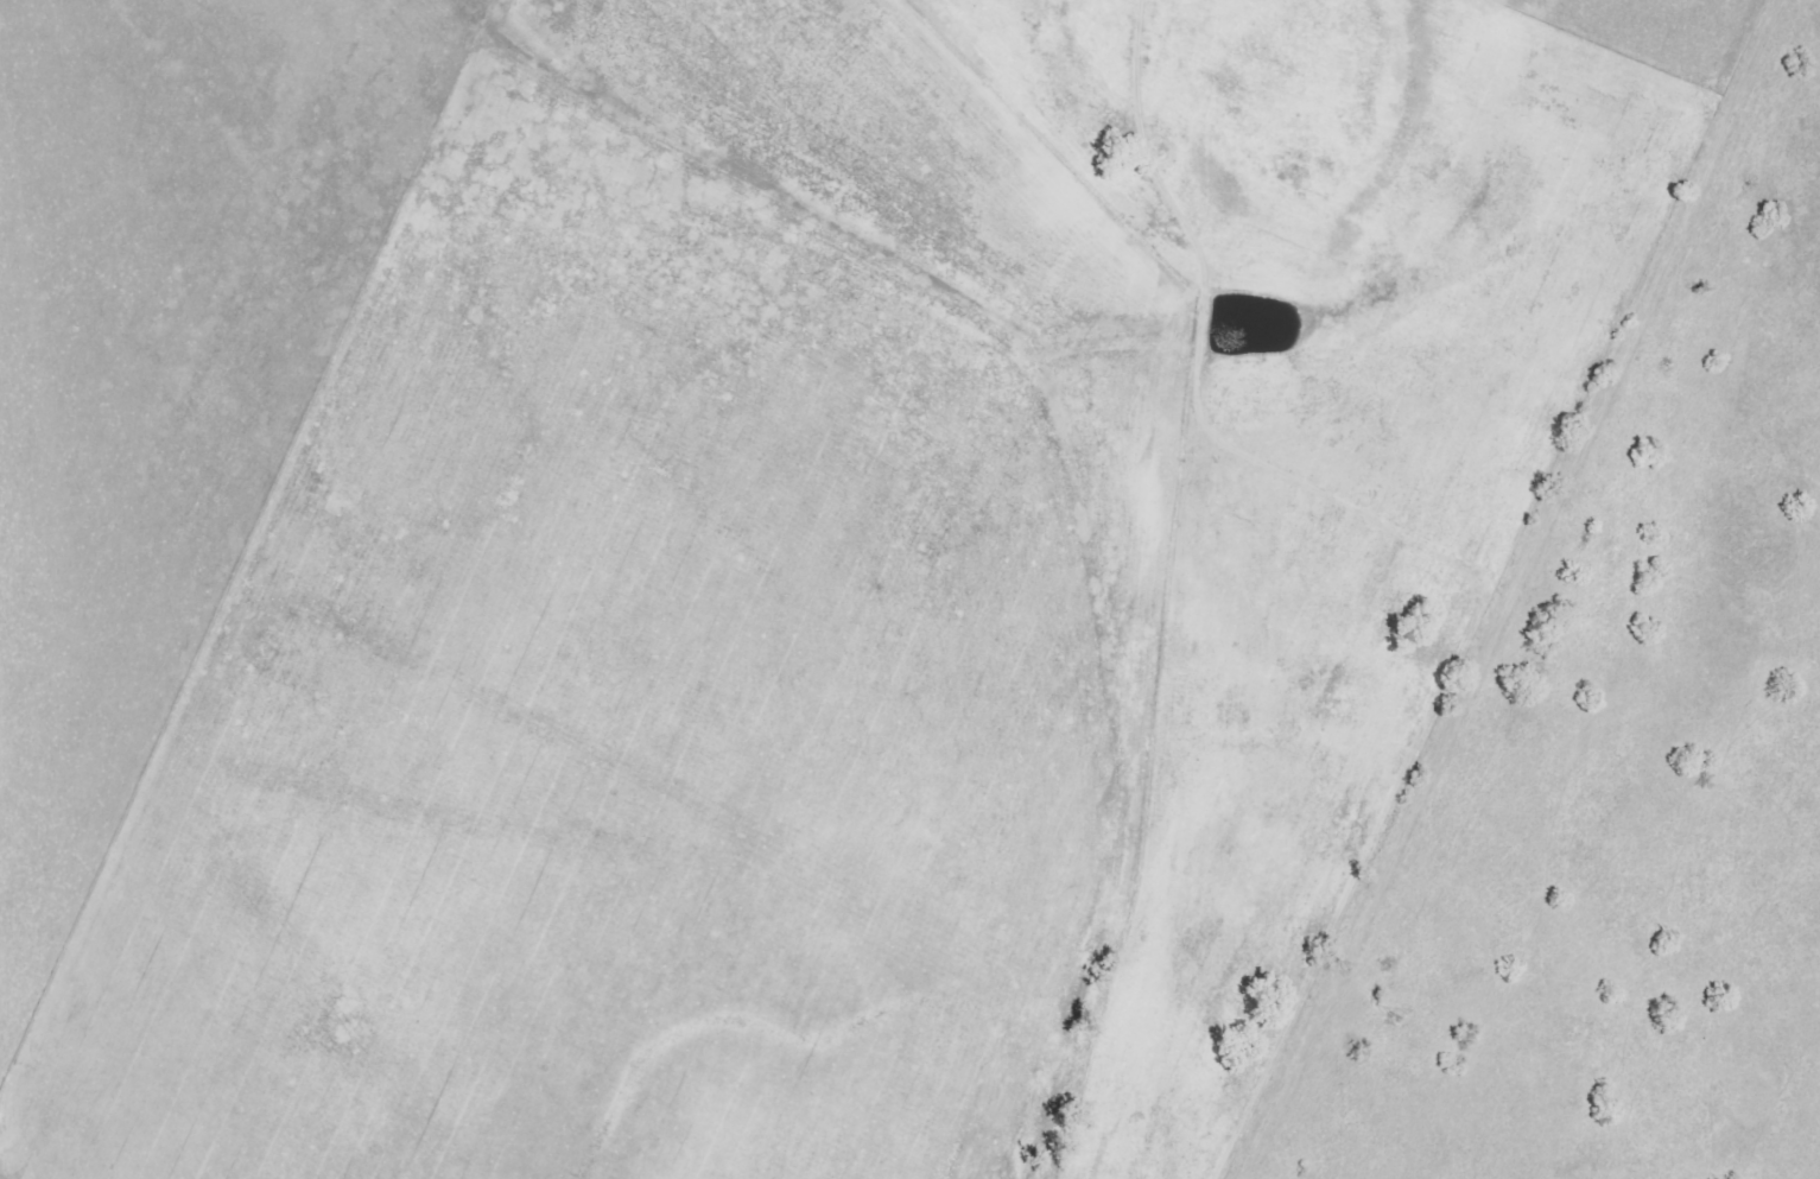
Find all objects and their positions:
road: (1427, 556)

